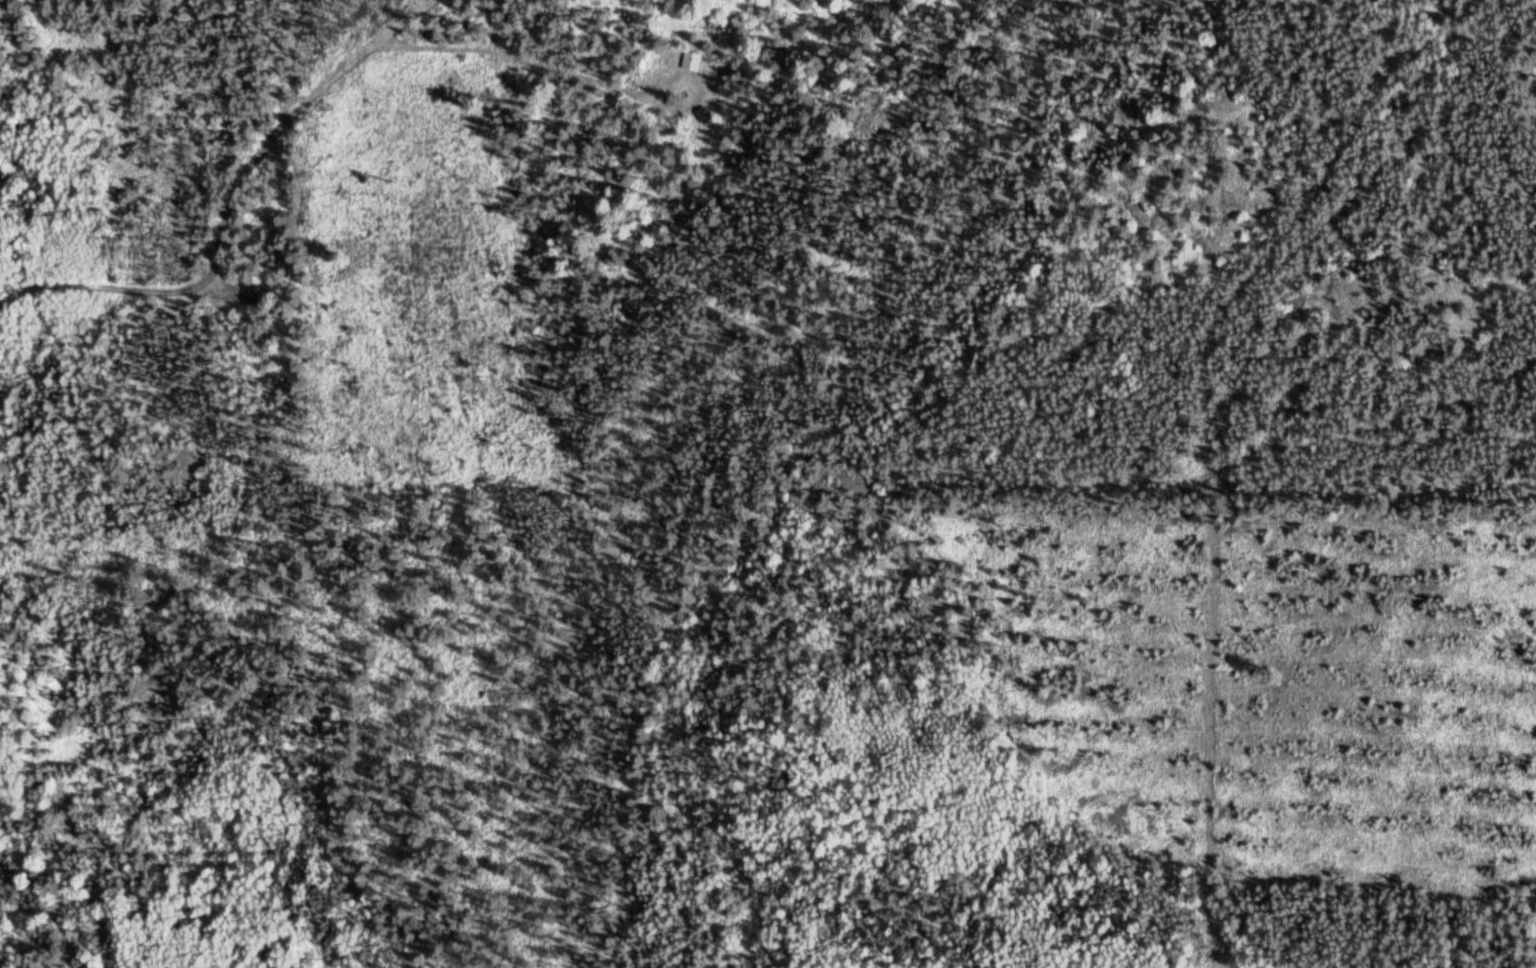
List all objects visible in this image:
building: (690, 57)
road: (244, 217)

